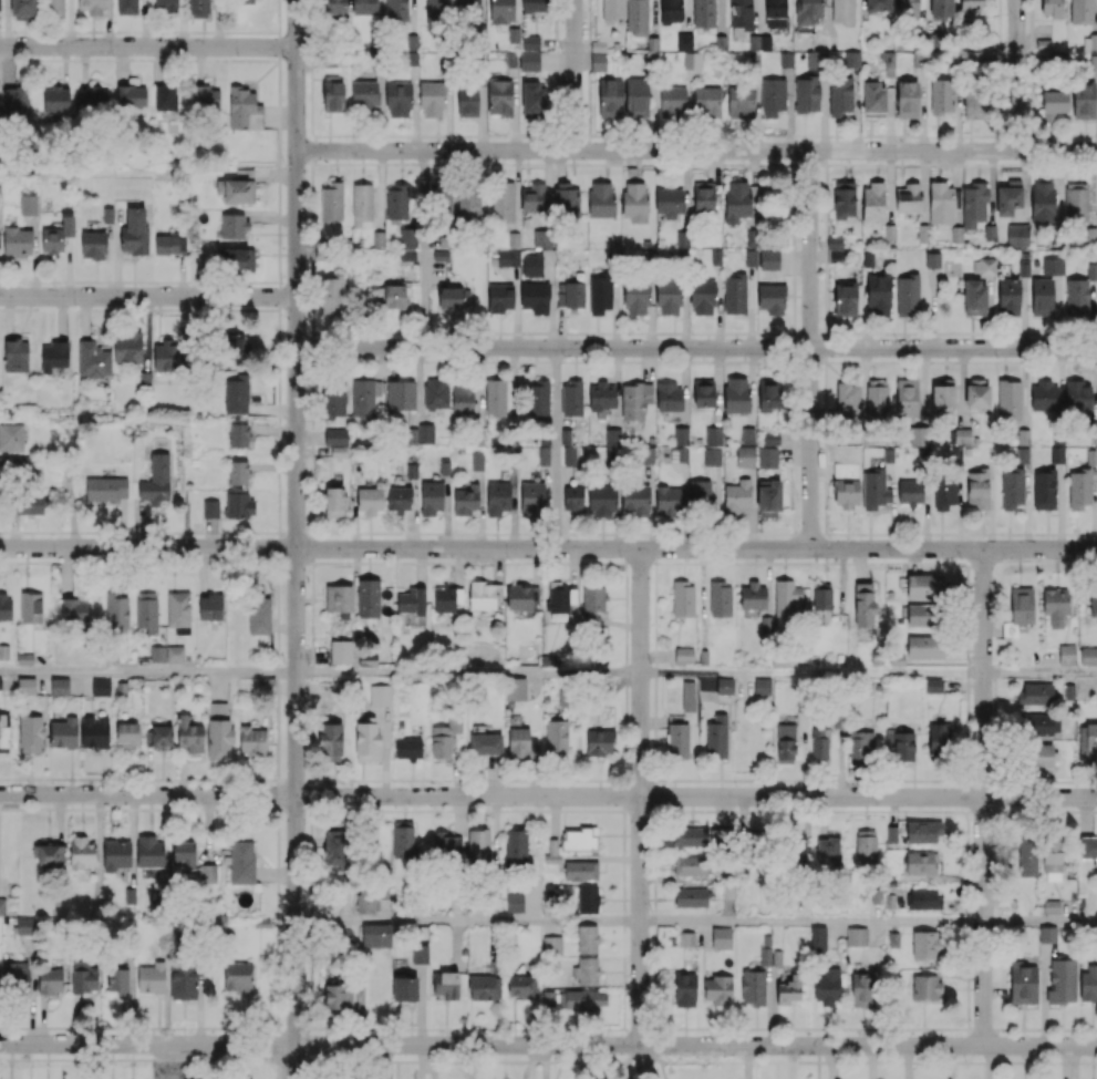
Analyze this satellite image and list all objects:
building: (246, 1)
building: (165, 4)
building: (534, 6)
building: (878, 6)
building: (23, 7)
building: (54, 7)
building: (92, 7)
building: (127, 7)
building: (334, 7)
building: (364, 7)
building: (466, 7)
building: (199, 8)
building: (907, 8)
building: (969, 8)
building: (1051, 8)
building: (396, 9)
building: (941, 9)
building: (671, 10)
building: (434, 11)
building: (501, 11)
building: (611, 11)
building: (807, 11)
building: (842, 11)
building: (1080, 11)
building: (703, 12)
building: (775, 13)
building: (637, 17)
building: (741, 17)
building: (530, 41)
building: (684, 41)
building: (412, 42)
building: (1089, 42)
road: (148, 45)
building: (786, 59)
building: (814, 59)
building: (851, 59)
building: (529, 60)
building: (598, 60)
building: (689, 60)
building: (889, 63)
building: (1093, 63)
road: (1016, 74)
road: (575, 75)
building: (364, 94)
building: (635, 94)
building: (807, 94)
building: (131, 95)
building: (499, 95)
building: (839, 95)
building: (941, 95)
building: (93, 96)
building: (333, 96)
building: (772, 96)
building: (165, 97)
building: (206, 97)
building: (610, 97)
building: (17, 99)
building: (55, 99)
building: (399, 99)
building: (432, 99)
building: (532, 99)
building: (875, 99)
building: (907, 99)
building: (672, 100)
building: (1084, 100)
building: (1054, 101)
building: (467, 102)
building: (741, 102)
building: (706, 103)
building: (974, 105)
building: (244, 109)
road: (696, 151)
building: (237, 187)
building: (705, 195)
building: (439, 197)
building: (910, 197)
building: (1007, 197)
building: (535, 198)
building: (566, 199)
building: (601, 199)
building: (844, 199)
building: (468, 201)
building: (634, 201)
building: (736, 201)
building: (1042, 201)
building: (332, 202)
building: (396, 202)
building: (504, 202)
building: (669, 202)
building: (1076, 202)
building: (872, 203)
building: (941, 203)
building: (28, 204)
building: (973, 204)
building: (362, 205)
building: (232, 225)
building: (134, 230)
building: (990, 232)
building: (56, 235)
building: (1013, 236)
building: (407, 237)
building: (541, 238)
building: (682, 238)
building: (17, 240)
building: (834, 242)
building: (93, 244)
building: (169, 244)
building: (406, 255)
building: (507, 258)
building: (867, 258)
building: (238, 259)
building: (768, 259)
building: (932, 259)
building: (531, 265)
building: (1052, 266)
building: (1091, 271)
building: (600, 292)
building: (573, 294)
building: (734, 294)
building: (878, 294)
building: (331, 295)
building: (392, 295)
building: (907, 295)
road: (148, 296)
building: (635, 296)
building: (669, 296)
building: (1008, 296)
building: (499, 297)
building: (535, 297)
building: (702, 297)
building: (974, 297)
building: (1042, 297)
building: (1076, 297)
building: (454, 298)
building: (770, 298)
building: (845, 299)
building: (236, 346)
building: (127, 347)
road: (696, 347)
road: (810, 349)
building: (15, 356)
building: (53, 356)
building: (166, 356)
building: (93, 359)
building: (144, 379)
building: (435, 392)
building: (703, 392)
building: (942, 393)
building: (977, 393)
building: (237, 394)
building: (401, 394)
building: (736, 394)
building: (768, 394)
building: (669, 395)
building: (1044, 395)
building: (1077, 395)
building: (364, 397)
building: (495, 397)
building: (907, 397)
building: (333, 398)
building: (463, 398)
building: (602, 398)
building: (538, 399)
building: (571, 399)
building: (635, 400)
building: (847, 400)
building: (876, 400)
building: (1008, 400)
building: (425, 433)
building: (747, 434)
building: (239, 435)
building: (335, 435)
building: (681, 435)
building: (713, 435)
building: (915, 435)
building: (962, 435)
building: (11, 436)
building: (612, 438)
building: (338, 451)
building: (646, 454)
building: (679, 454)
building: (1056, 454)
building: (544, 455)
building: (1022, 455)
building: (712, 456)
building: (745, 456)
building: (767, 456)
building: (477, 461)
building: (18, 466)
building: (238, 472)
building: (156, 480)
building: (977, 487)
building: (1012, 487)
building: (106, 489)
building: (875, 489)
building: (1079, 489)
building: (944, 490)
building: (1044, 490)
building: (910, 491)
building: (700, 492)
building: (846, 493)
building: (736, 496)
building: (431, 497)
building: (497, 497)
building: (573, 497)
building: (669, 497)
building: (399, 499)
building: (531, 499)
building: (635, 499)
building: (369, 500)
building: (466, 500)
building: (601, 500)
building: (769, 500)
building: (334, 501)
building: (27, 503)
building: (238, 504)
building: (210, 508)
road: (297, 539)
road: (548, 548)
building: (924, 585)
building: (484, 595)
building: (753, 596)
building: (821, 596)
building: (785, 597)
building: (368, 598)
building: (447, 598)
building: (683, 598)
building: (720, 598)
building: (339, 599)
building: (522, 599)
building: (411, 600)
building: (559, 602)
building: (863, 604)
building: (1093, 604)
building: (592, 605)
building: (1054, 605)
building: (210, 606)
building: (6, 607)
building: (31, 607)
building: (1021, 607)
building: (74, 608)
building: (116, 610)
building: (146, 612)
building: (178, 612)
building: (922, 615)
building: (923, 646)
building: (341, 651)
building: (166, 654)
building: (1067, 654)
building: (683, 655)
building: (1088, 656)
building: (896, 659)
road: (148, 671)
road: (468, 672)
road: (811, 672)
road: (1039, 672)
building: (0, 682)
building: (267, 685)
building: (933, 685)
building: (25, 686)
building: (59, 686)
building: (724, 686)
building: (762, 686)
building: (101, 687)
building: (515, 688)
building: (1036, 693)
building: (380, 695)
building: (687, 696)
building: (1041, 723)
building: (218, 730)
building: (94, 731)
building: (4, 732)
building: (31, 733)
building: (63, 733)
building: (126, 734)
building: (189, 734)
building: (157, 736)
building: (716, 737)
building: (556, 738)
building: (939, 738)
building: (443, 739)
building: (251, 740)
building: (677, 740)
building: (331, 741)
building: (366, 741)
building: (518, 741)
building: (785, 741)
building: (1086, 741)
building: (600, 742)
building: (485, 743)
building: (901, 744)
building: (819, 746)
building: (860, 747)
building: (408, 748)
building: (1037, 754)
road: (548, 795)
road: (983, 798)
road: (640, 814)
building: (922, 831)
building: (891, 833)
building: (690, 835)
building: (721, 836)
building: (403, 837)
building: (580, 839)
building: (445, 842)
building: (478, 844)
building: (516, 846)
building: (751, 846)
building: (795, 846)
building: (335, 847)
building: (863, 847)
building: (828, 849)
building: (1088, 849)
building: (149, 851)
building: (83, 852)
building: (552, 852)
building: (184, 853)
building: (115, 854)
building: (48, 855)
building: (1027, 855)
building: (1052, 860)
building: (241, 862)
building: (921, 862)
building: (690, 865)
building: (580, 870)
building: (207, 873)
building: (691, 897)
building: (588, 898)
building: (923, 898)
building: (366, 901)
building: (515, 902)
building: (6, 904)
building: (1051, 905)
road: (468, 921)
road: (811, 921)
road: (1039, 921)
building: (25, 925)
building: (1047, 934)
building: (375, 935)
building: (857, 936)
building: (721, 937)
building: (587, 938)
building: (686, 938)
building: (818, 938)
building: (893, 939)
building: (925, 944)
building: (552, 945)
building: (766, 949)
building: (420, 953)
building: (587, 970)
building: (15, 973)
building: (84, 977)
building: (151, 977)
building: (183, 977)
building: (238, 977)
building: (50, 980)
building: (1062, 980)
building: (117, 982)
building: (1022, 983)
building: (1088, 983)
building: (445, 984)
building: (862, 986)
building: (484, 987)
building: (521, 987)
building: (753, 987)
building: (827, 987)
building: (927, 987)
building: (404, 988)
building: (717, 988)
building: (684, 989)
building: (789, 989)
building: (338, 997)
building: (586, 998)
road: (548, 1045)

